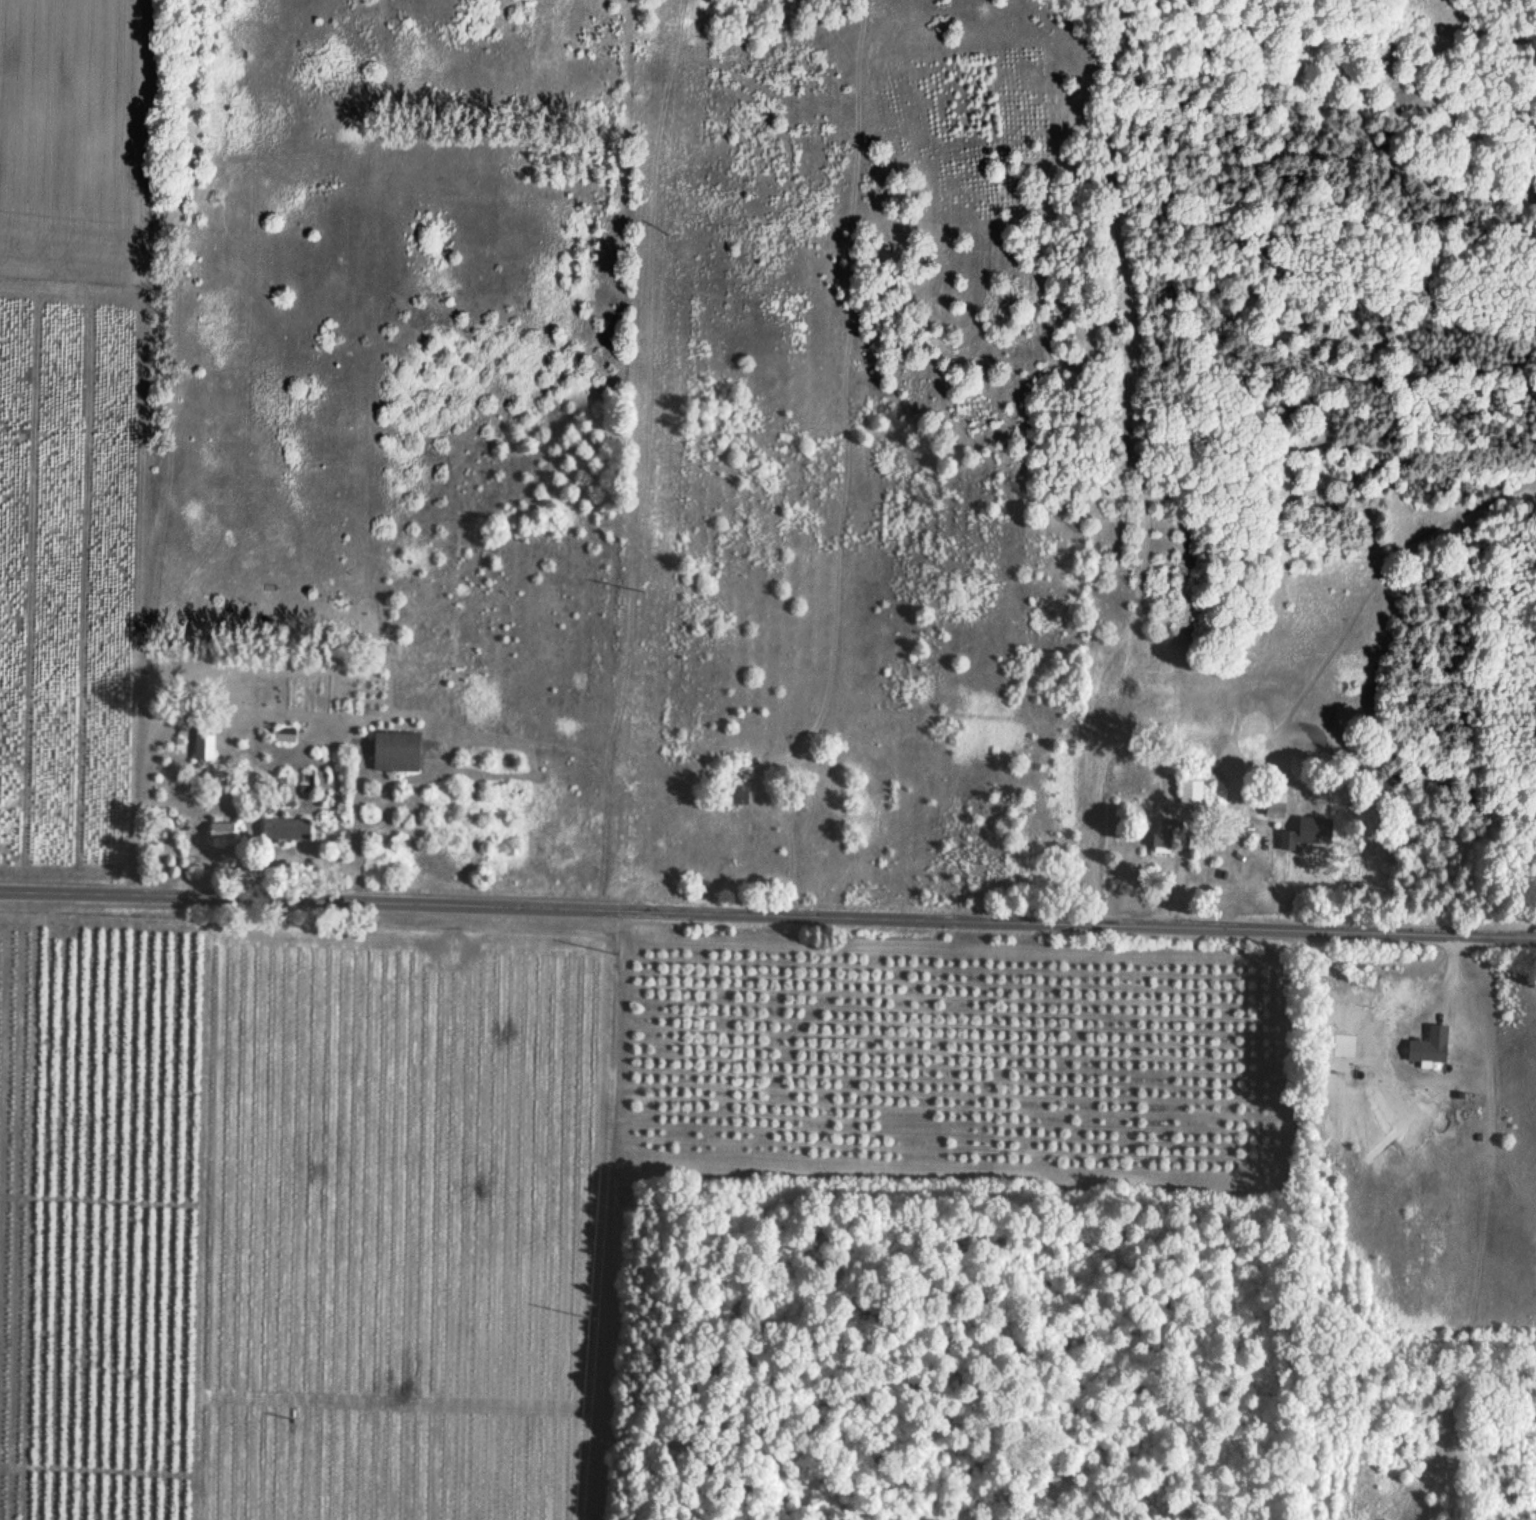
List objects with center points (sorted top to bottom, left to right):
building: (283, 735)
building: (202, 744)
building: (392, 752)
building: (284, 792)
building: (1189, 793)
building: (735, 795)
building: (1273, 806)
building: (283, 829)
building: (219, 832)
building: (1163, 837)
road: (768, 916)
building: (1427, 1047)

